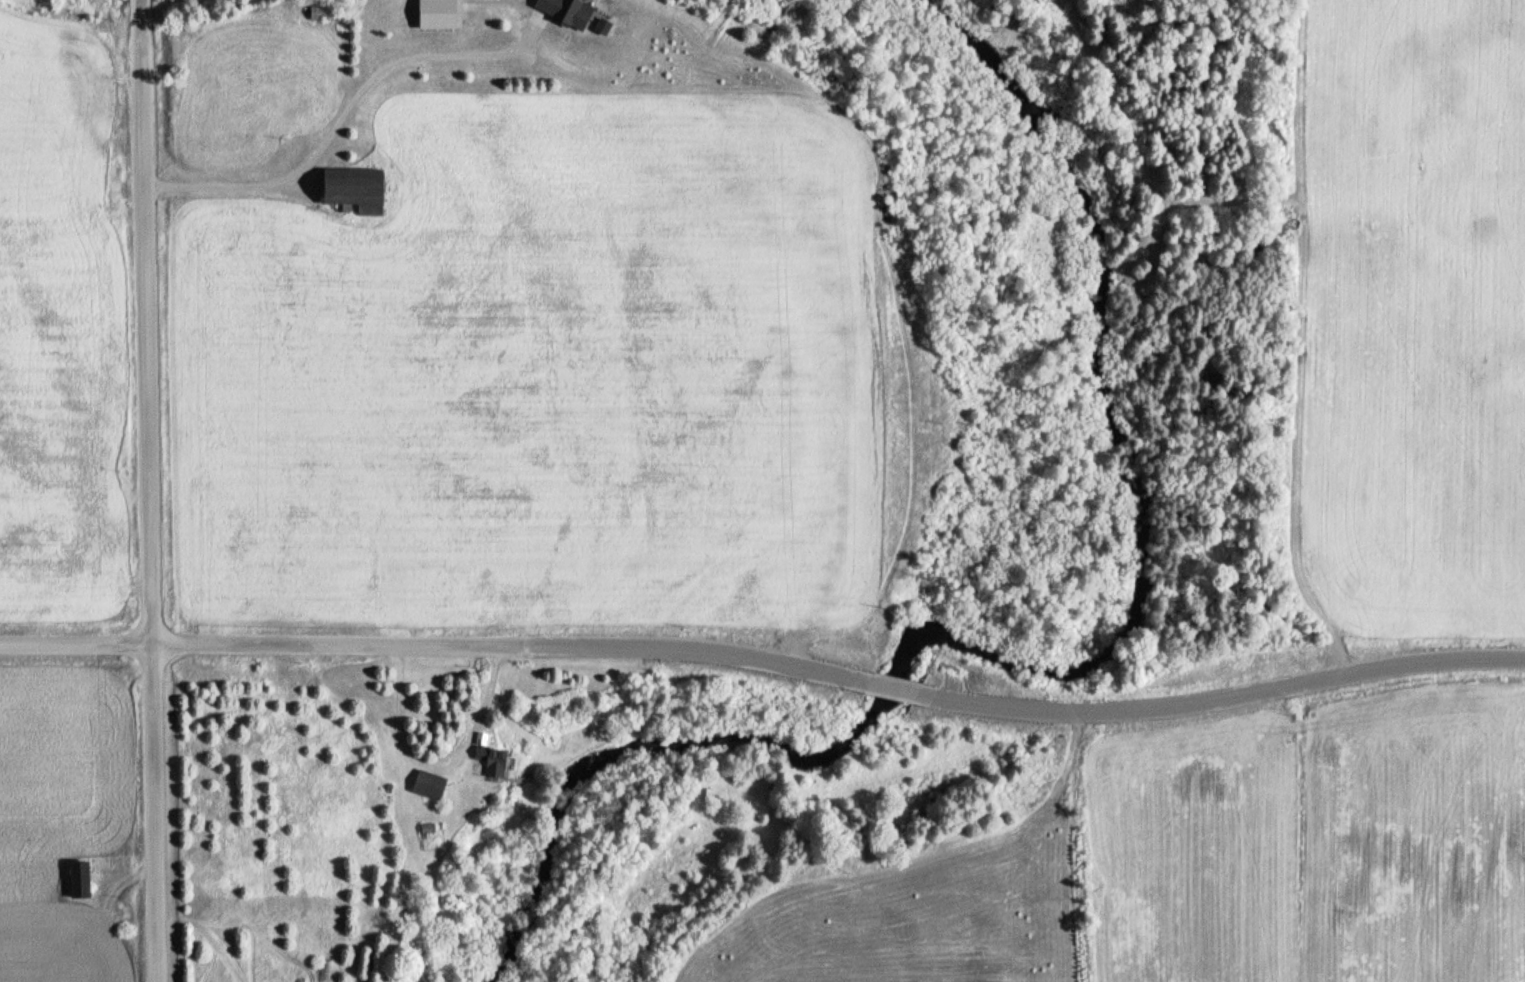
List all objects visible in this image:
building: (565, 10)
building: (321, 11)
road: (343, 113)
building: (351, 189)
road: (151, 490)
road: (425, 644)
road: (872, 647)
road: (903, 651)
river: (1048, 671)
road: (1211, 671)
building: (490, 761)
building: (426, 784)
building: (76, 878)

